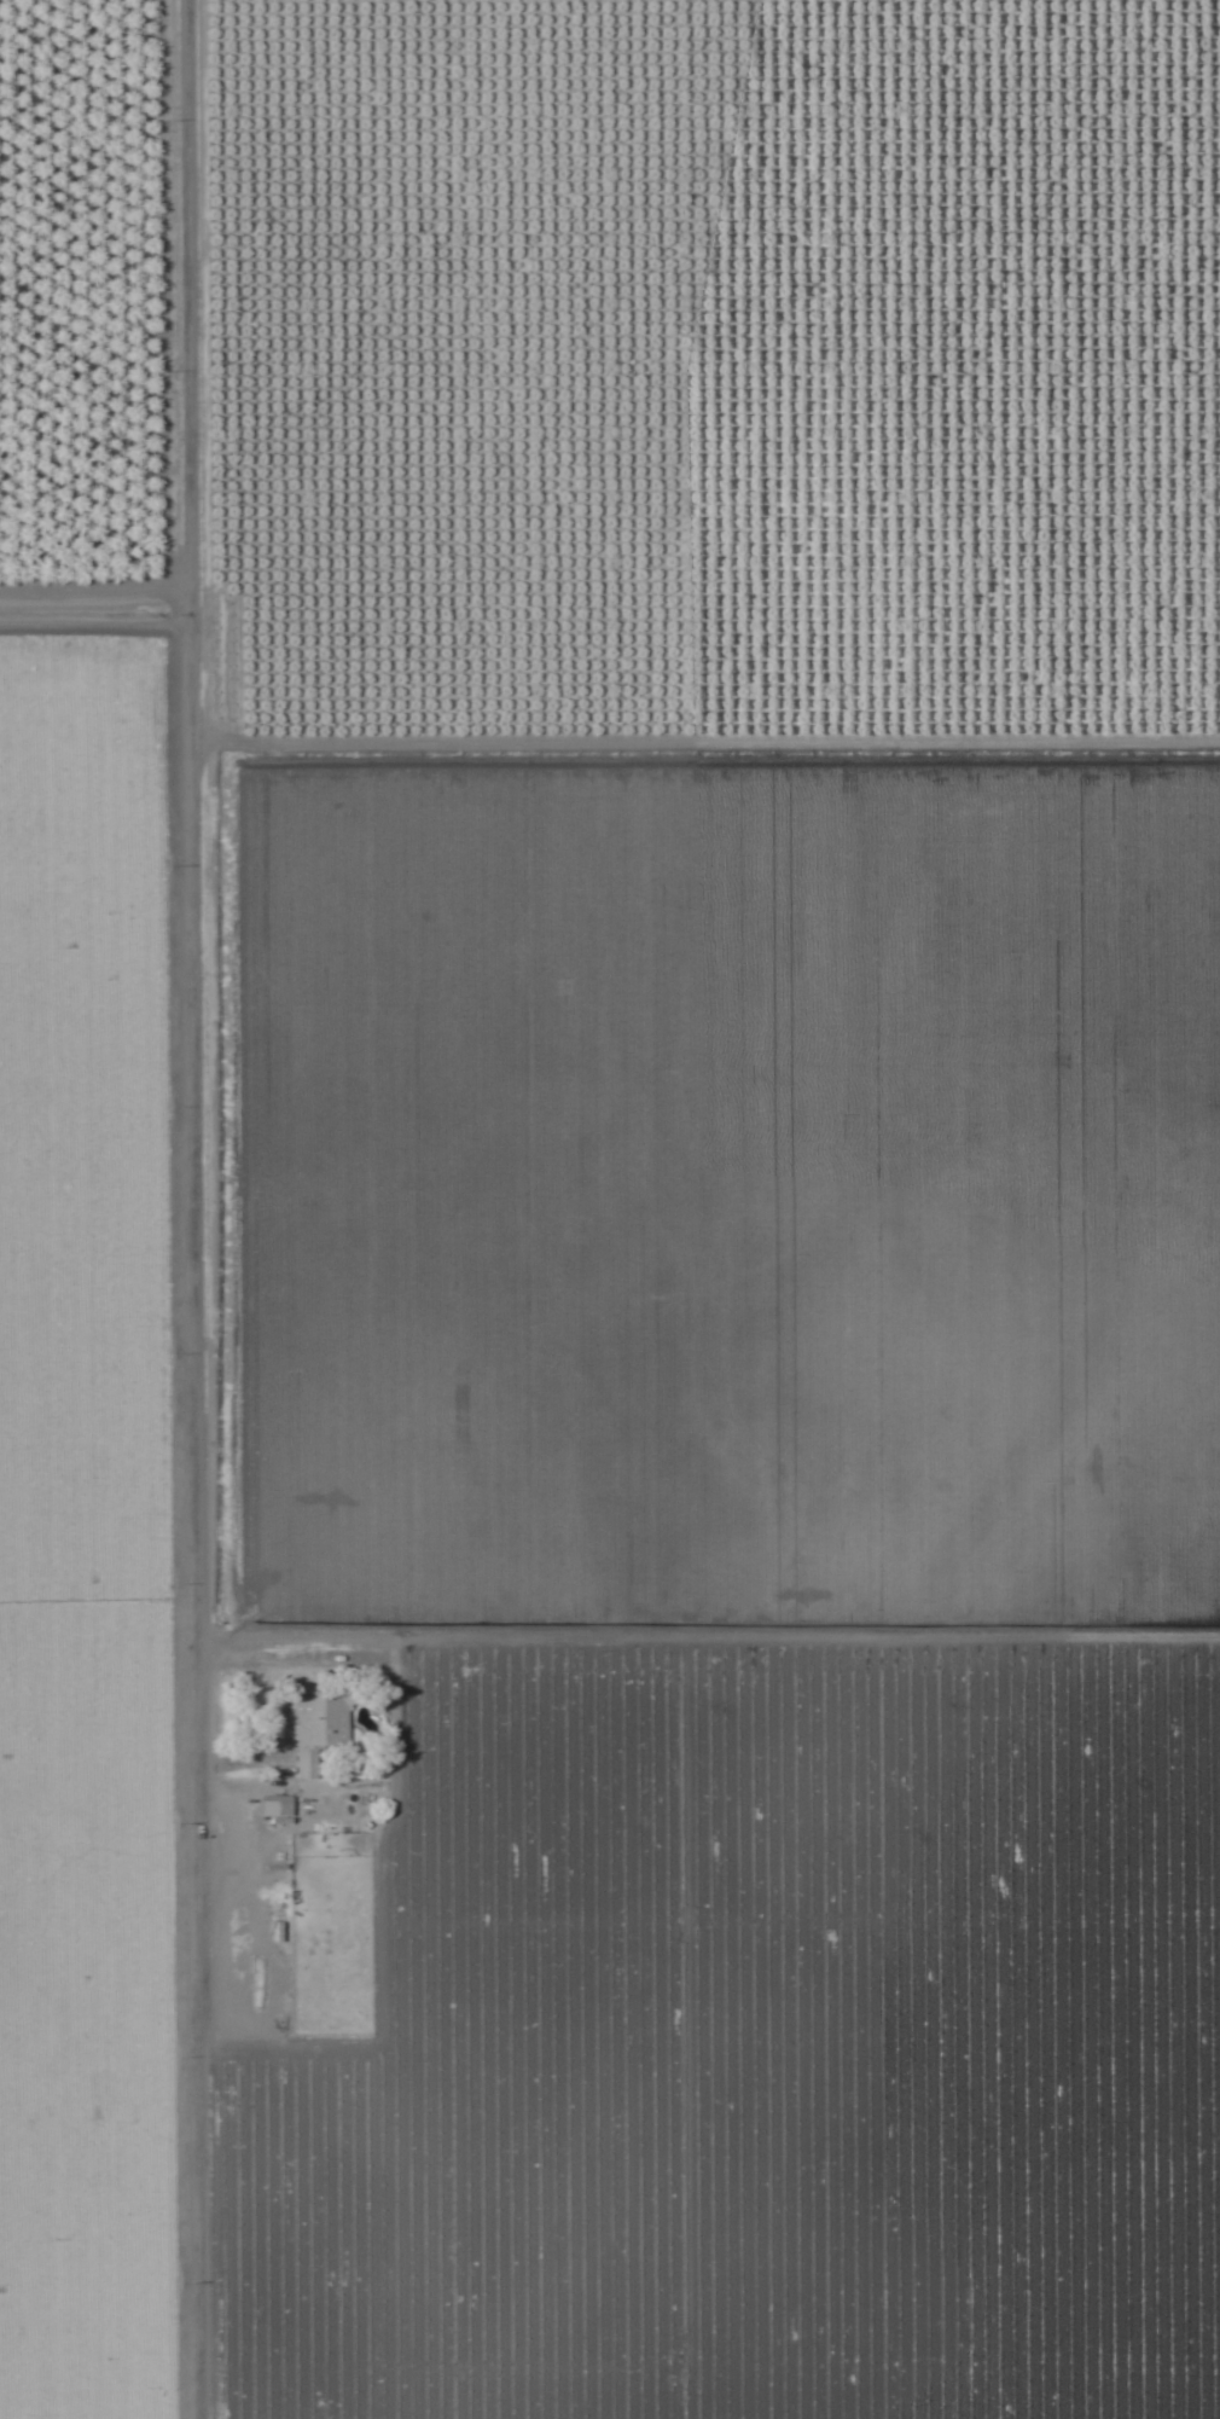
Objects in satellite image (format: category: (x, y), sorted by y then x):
building: (1091, 195)
road: (198, 1208)
crop: (610, 1209)
building: (315, 1729)

